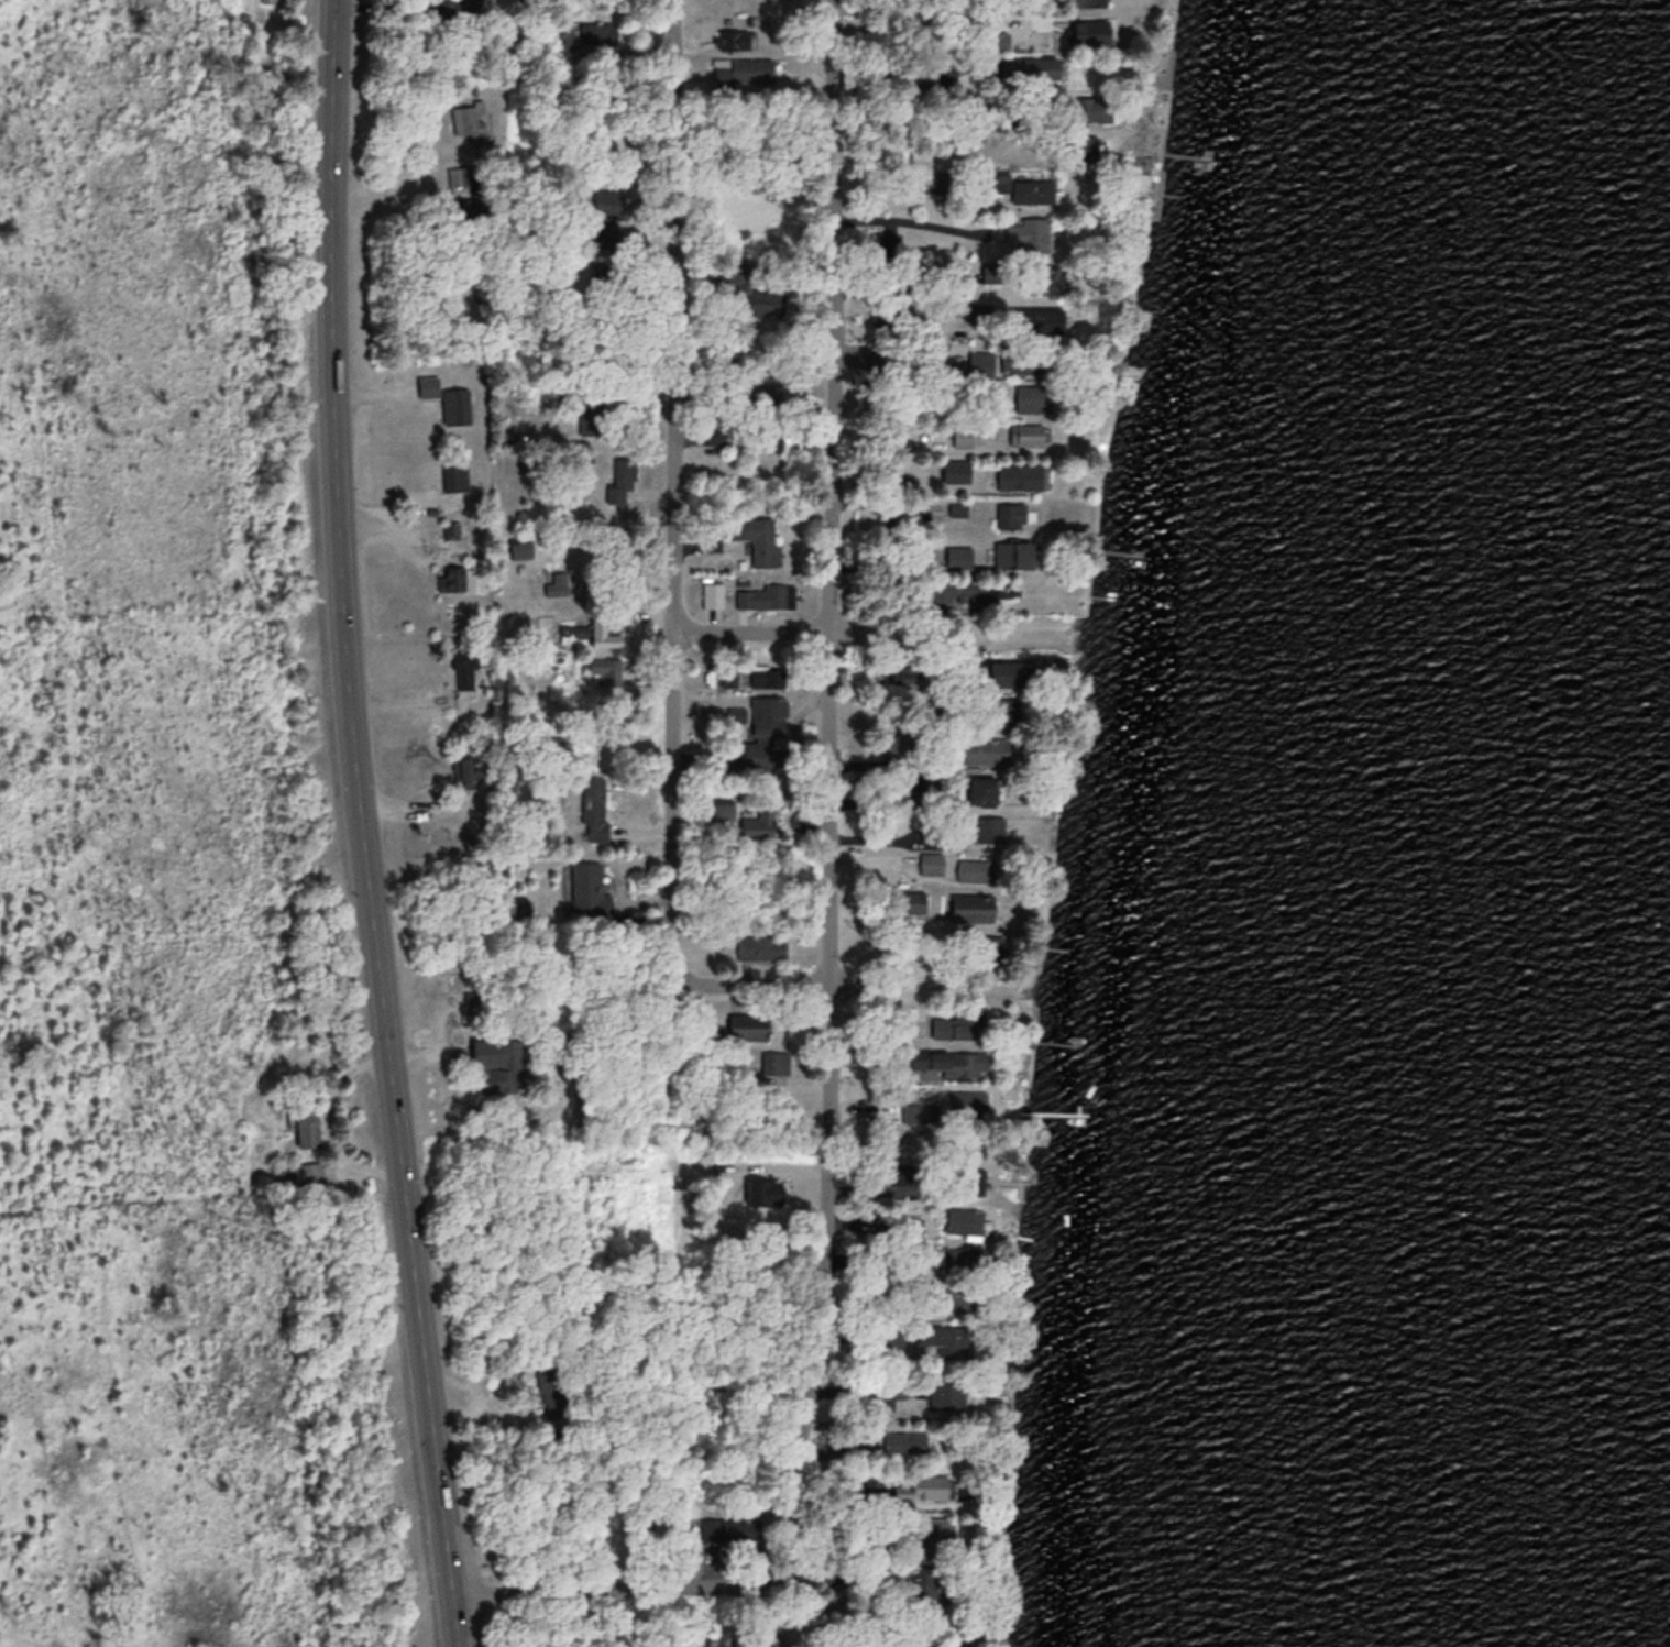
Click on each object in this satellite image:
building: (266, 0)
building: (1091, 2)
building: (470, 8)
building: (597, 30)
building: (1089, 30)
building: (561, 34)
building: (1029, 67)
building: (744, 70)
building: (1094, 108)
building: (468, 119)
building: (468, 176)
building: (1037, 194)
building: (608, 200)
building: (466, 205)
road: (905, 219)
building: (1028, 234)
building: (887, 242)
building: (1046, 279)
building: (750, 292)
building: (891, 307)
building: (980, 311)
building: (1052, 320)
building: (1025, 361)
building: (980, 362)
building: (888, 364)
building: (429, 389)
building: (768, 394)
building: (1030, 397)
building: (459, 403)
building: (590, 418)
building: (1026, 433)
building: (715, 435)
building: (962, 435)
building: (956, 470)
building: (453, 471)
building: (1020, 475)
building: (618, 480)
building: (957, 508)
building: (1010, 515)
building: (885, 519)
building: (450, 528)
building: (754, 537)
building: (520, 546)
building: (1014, 553)
building: (958, 557)
building: (450, 577)
building: (554, 581)
building: (971, 592)
building: (769, 595)
building: (518, 626)
building: (602, 629)
road: (866, 635)
building: (462, 668)
building: (606, 668)
building: (1009, 670)
building: (767, 674)
building: (907, 674)
building: (1006, 710)
building: (762, 731)
building: (899, 744)
building: (984, 748)
road: (672, 757)
building: (462, 771)
building: (985, 790)
building: (593, 806)
road: (833, 814)
road: (364, 825)
building: (989, 826)
building: (757, 827)
building: (931, 861)
building: (974, 869)
building: (589, 886)
building: (913, 900)
building: (515, 904)
building: (971, 905)
building: (760, 944)
road: (852, 989)
building: (955, 1022)
building: (748, 1024)
building: (774, 1061)
building: (953, 1061)
building: (502, 1073)
building: (971, 1101)
building: (307, 1122)
building: (310, 1174)
building: (765, 1188)
building: (964, 1217)
building: (942, 1339)
building: (943, 1393)
building: (905, 1440)
building: (857, 1447)
building: (930, 1485)
road: (746, 1527)
building: (739, 1528)
building: (932, 1530)
building: (927, 1582)
road: (595, 1590)
building: (834, 1594)
building: (761, 1643)
building: (932, 1646)

